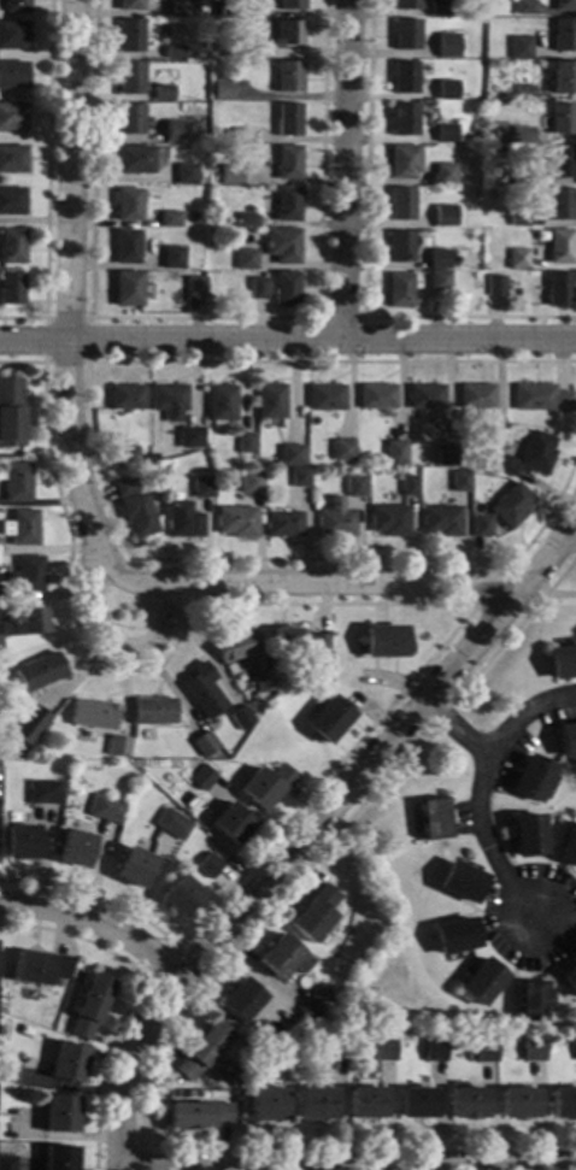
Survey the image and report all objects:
building: (130, 5)
building: (290, 5)
building: (406, 5)
building: (16, 6)
building: (565, 6)
building: (182, 7)
building: (524, 7)
building: (235, 8)
building: (437, 8)
building: (289, 34)
building: (405, 35)
building: (13, 36)
building: (130, 36)
building: (564, 36)
building: (445, 45)
building: (241, 47)
building: (519, 48)
building: (434, 52)
building: (175, 53)
building: (224, 54)
building: (12, 76)
building: (288, 77)
building: (129, 78)
building: (404, 78)
building: (564, 78)
building: (446, 90)
building: (222, 92)
building: (163, 93)
building: (523, 94)
building: (13, 118)
building: (129, 119)
building: (563, 119)
building: (288, 120)
building: (404, 120)
building: (174, 131)
building: (445, 134)
building: (243, 135)
building: (523, 135)
building: (12, 160)
building: (134, 160)
building: (405, 161)
building: (288, 163)
building: (563, 163)
road: (347, 169)
building: (184, 175)
building: (445, 175)
building: (230, 176)
building: (522, 177)
road: (47, 181)
building: (474, 194)
building: (492, 195)
building: (12, 202)
building: (127, 205)
building: (288, 205)
building: (401, 205)
building: (562, 205)
building: (445, 217)
building: (518, 218)
building: (169, 221)
building: (246, 221)
building: (282, 245)
building: (12, 246)
building: (125, 247)
building: (401, 247)
building: (562, 247)
building: (172, 258)
building: (246, 259)
building: (439, 259)
building: (519, 259)
road: (364, 264)
building: (439, 281)
building: (496, 286)
building: (194, 287)
building: (11, 289)
building: (128, 289)
building: (257, 289)
building: (287, 289)
building: (560, 289)
building: (399, 290)
road: (69, 298)
road: (204, 317)
road: (321, 317)
road: (287, 340)
road: (45, 363)
building: (425, 396)
building: (476, 396)
building: (127, 398)
building: (325, 398)
building: (377, 398)
building: (541, 399)
building: (170, 401)
building: (271, 402)
building: (222, 405)
building: (11, 413)
building: (495, 430)
building: (192, 437)
building: (246, 443)
building: (342, 451)
building: (395, 453)
building: (537, 453)
building: (292, 455)
building: (446, 455)
building: (128, 457)
building: (154, 457)
building: (509, 466)
road: (99, 468)
building: (300, 478)
building: (17, 482)
building: (252, 482)
building: (460, 482)
building: (125, 487)
building: (354, 487)
building: (410, 487)
building: (204, 492)
building: (511, 506)
building: (139, 516)
building: (184, 521)
building: (389, 521)
building: (441, 521)
building: (237, 522)
building: (335, 524)
building: (283, 525)
building: (23, 527)
building: (481, 527)
building: (0, 546)
building: (29, 575)
road: (327, 582)
building: (1, 592)
road: (481, 598)
road: (416, 604)
road: (500, 611)
building: (23, 623)
building: (383, 641)
road: (112, 643)
building: (284, 643)
building: (317, 646)
building: (0, 647)
building: (229, 647)
building: (562, 663)
building: (40, 671)
building: (260, 681)
building: (200, 692)
building: (151, 712)
building: (92, 715)
building: (240, 718)
building: (328, 721)
building: (27, 725)
road: (454, 728)
building: (566, 741)
building: (202, 745)
building: (116, 747)
building: (200, 778)
building: (533, 778)
building: (266, 786)
building: (41, 793)
building: (187, 801)
building: (104, 810)
road: (477, 810)
building: (433, 819)
building: (170, 824)
building: (230, 824)
building: (527, 836)
road: (304, 840)
building: (184, 841)
building: (18, 842)
building: (568, 847)
building: (72, 849)
building: (207, 865)
building: (133, 868)
building: (459, 882)
building: (178, 896)
building: (315, 913)
road: (100, 924)
building: (453, 936)
building: (282, 958)
building: (36, 968)
building: (570, 978)
building: (482, 982)
road: (135, 996)
building: (533, 1001)
road: (187, 1003)
building: (240, 1003)
building: (315, 1004)
building: (87, 1007)
building: (575, 1051)
building: (533, 1052)
building: (200, 1053)
building: (333, 1053)
building: (383, 1053)
building: (433, 1053)
building: (483, 1054)
building: (2, 1056)
building: (283, 1058)
building: (65, 1063)
road: (125, 1064)
building: (7, 1072)
building: (564, 1103)
building: (365, 1104)
building: (316, 1105)
building: (416, 1105)
building: (468, 1105)
building: (518, 1105)
building: (265, 1106)
building: (57, 1115)
building: (198, 1118)
road: (128, 1145)
building: (57, 1158)
building: (6, 1163)
road: (346, 1169)

